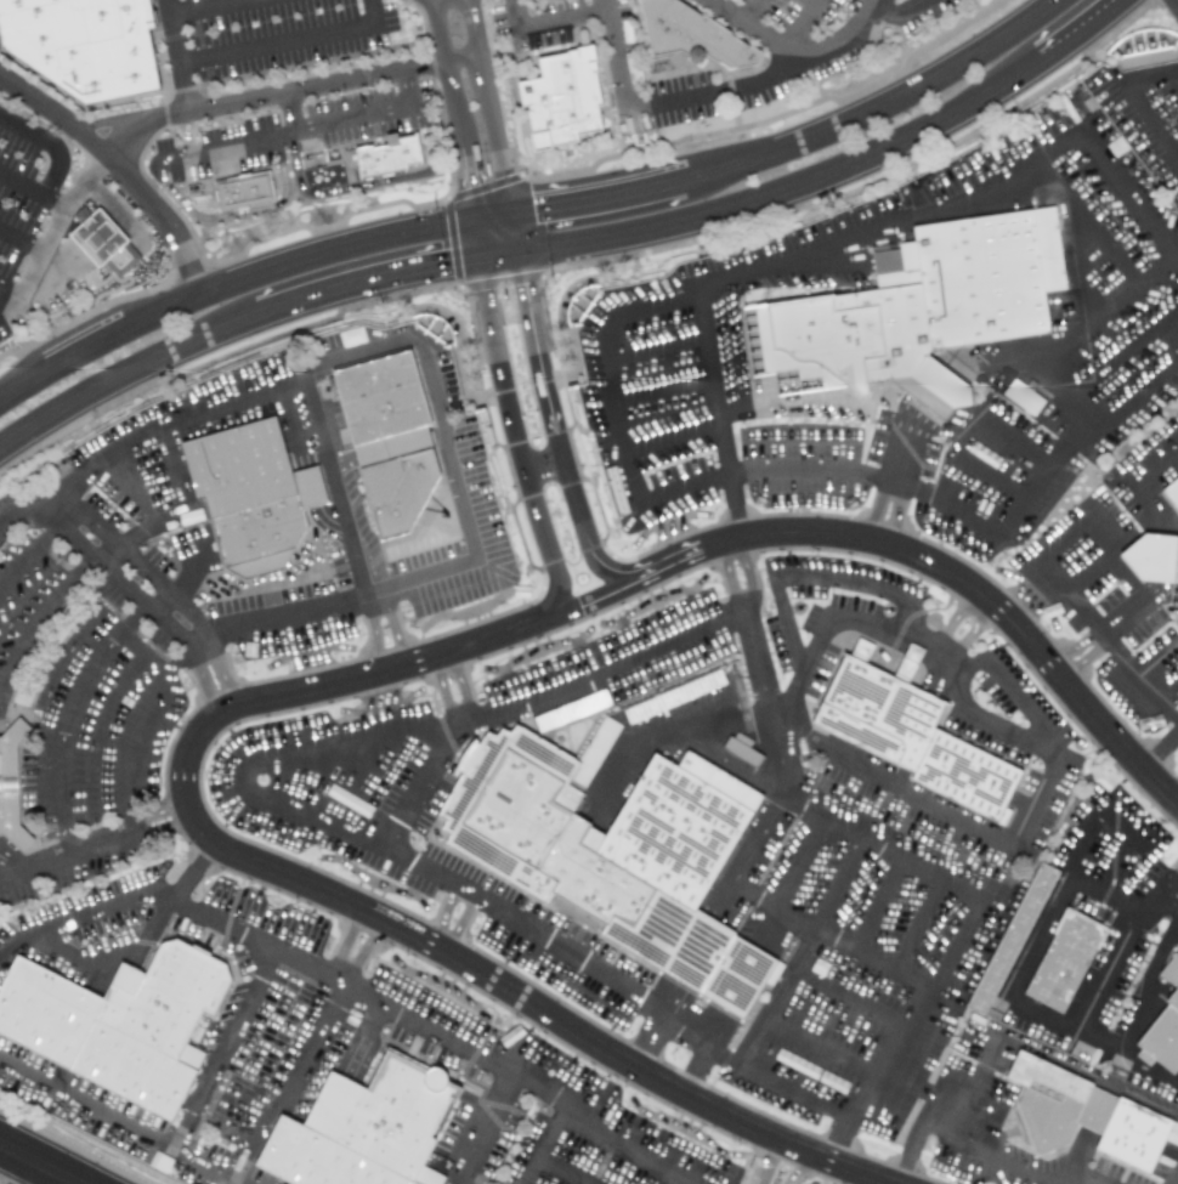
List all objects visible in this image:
road: (1177, 0)
road: (209, 7)
road: (749, 10)
road: (372, 11)
road: (895, 13)
road: (1116, 13)
road: (1126, 13)
road: (546, 23)
road: (800, 23)
building: (695, 35)
building: (97, 44)
road: (278, 44)
road: (1082, 46)
road: (799, 55)
road: (180, 56)
road: (438, 73)
road: (1177, 73)
road: (1145, 79)
road: (406, 86)
road: (289, 92)
building: (557, 94)
road: (870, 97)
road: (495, 100)
road: (658, 104)
road: (290, 112)
road: (1145, 126)
road: (186, 135)
road: (281, 137)
road: (50, 142)
building: (386, 155)
road: (113, 164)
road: (458, 176)
road: (370, 180)
road: (604, 183)
traffic signals: (460, 185)
road: (32, 188)
building: (245, 191)
road: (1128, 192)
traffic signals: (544, 196)
road: (804, 198)
road: (489, 204)
road: (236, 210)
road: (1084, 228)
road: (51, 232)
road: (522, 232)
road: (855, 236)
road: (468, 240)
road: (19, 242)
building: (101, 243)
road: (289, 248)
road: (500, 270)
traffic signals: (447, 278)
traffic signals: (534, 288)
road: (9, 291)
road: (366, 295)
building: (916, 308)
road: (1101, 322)
road: (409, 334)
road: (80, 335)
road: (657, 350)
road: (546, 359)
road: (19, 372)
road: (126, 386)
road: (666, 391)
building: (1021, 397)
road: (1066, 397)
road: (617, 407)
road: (719, 414)
road: (171, 424)
road: (1083, 431)
road: (674, 437)
building: (368, 442)
road: (1024, 443)
road: (509, 449)
road: (902, 449)
road: (543, 461)
road: (826, 468)
road: (993, 477)
road: (1132, 483)
building: (1172, 492)
building: (251, 495)
road: (52, 502)
road: (876, 506)
road: (896, 512)
road: (165, 514)
road: (22, 515)
road: (593, 526)
road: (132, 531)
road: (1061, 542)
road: (104, 549)
road: (28, 555)
road: (1159, 559)
road: (1112, 560)
building: (1155, 560)
road: (672, 563)
road: (747, 573)
road: (1086, 573)
road: (727, 577)
road: (185, 582)
road: (976, 589)
road: (163, 591)
road: (591, 599)
road: (157, 601)
road: (143, 604)
road: (1128, 607)
road: (290, 614)
road: (36, 616)
road: (827, 618)
road: (392, 627)
road: (373, 633)
road: (1105, 641)
road: (200, 646)
road: (1074, 647)
road: (1152, 655)
road: (1086, 658)
road: (599, 670)
road: (1168, 689)
road: (67, 719)
road: (990, 721)
road: (125, 729)
building: (908, 732)
road: (302, 743)
building: (741, 748)
road: (350, 749)
road: (1160, 749)
building: (16, 787)
road: (185, 787)
road: (155, 811)
road: (162, 827)
road: (1024, 827)
road: (1121, 828)
building: (604, 839)
flagpole: (415, 844)
road: (66, 854)
road: (799, 863)
road: (1074, 868)
road: (922, 872)
road: (1171, 879)
road: (1174, 890)
road: (1174, 894)
road: (877, 905)
road: (791, 911)
road: (440, 916)
road: (78, 918)
road: (221, 920)
road: (457, 925)
road: (917, 925)
road: (522, 930)
building: (1012, 941)
road: (340, 942)
road: (359, 951)
road: (800, 951)
road: (1111, 954)
building: (1066, 961)
road: (1025, 964)
road: (107, 971)
building: (1172, 971)
road: (845, 996)
building: (1111, 999)
road: (1132, 1019)
building: (149, 1030)
road: (362, 1036)
building: (1163, 1038)
road: (652, 1042)
road: (817, 1046)
road: (1038, 1053)
road: (696, 1067)
road: (517, 1078)
road: (290, 1081)
road: (206, 1083)
road: (904, 1089)
road: (86, 1103)
road: (702, 1104)
building: (1083, 1115)
road: (475, 1126)
road: (913, 1131)
building: (361, 1132)
road: (544, 1145)
road: (769, 1162)
road: (38, 1163)
road: (793, 1167)
road: (1177, 1167)
road: (561, 1171)
road: (26, 1172)
road: (1172, 1173)
road: (1027, 1177)
road: (1084, 1178)
road: (1082, 1180)

